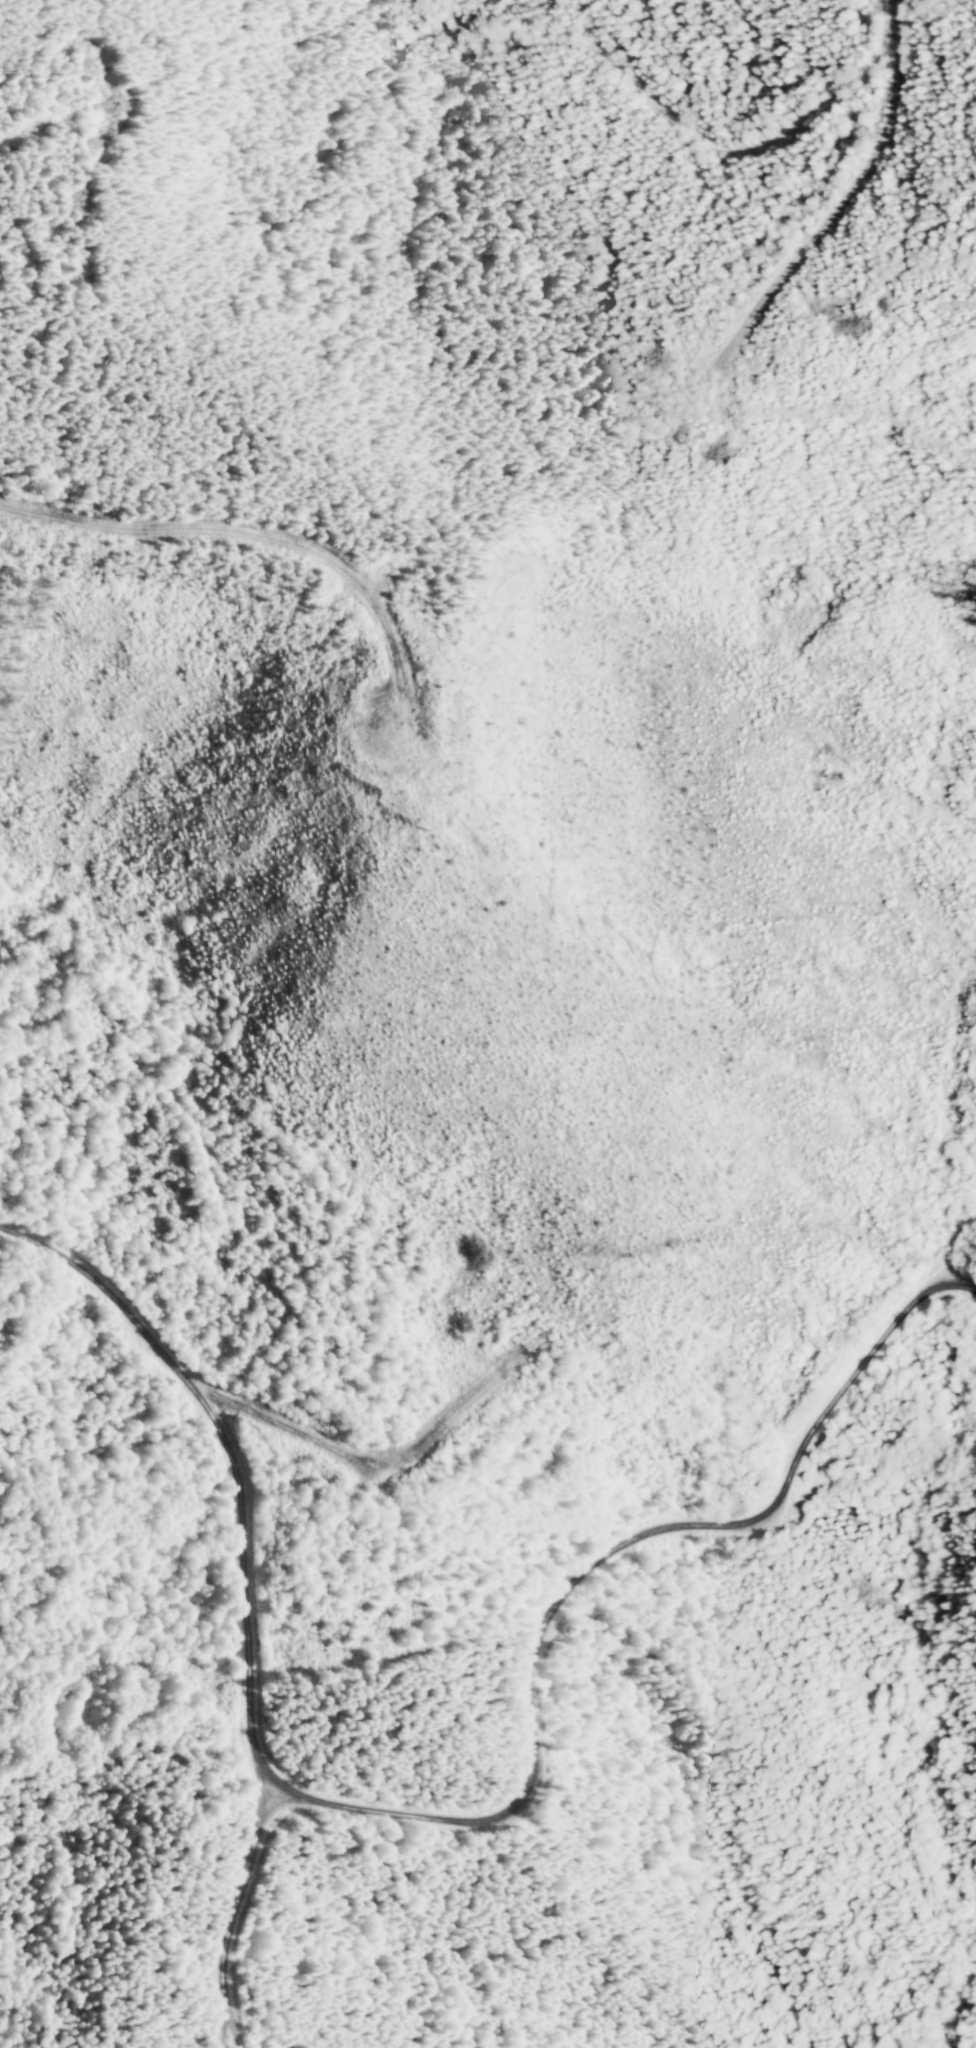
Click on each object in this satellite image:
road: (466, 522)
road: (203, 1477)
road: (528, 1666)

